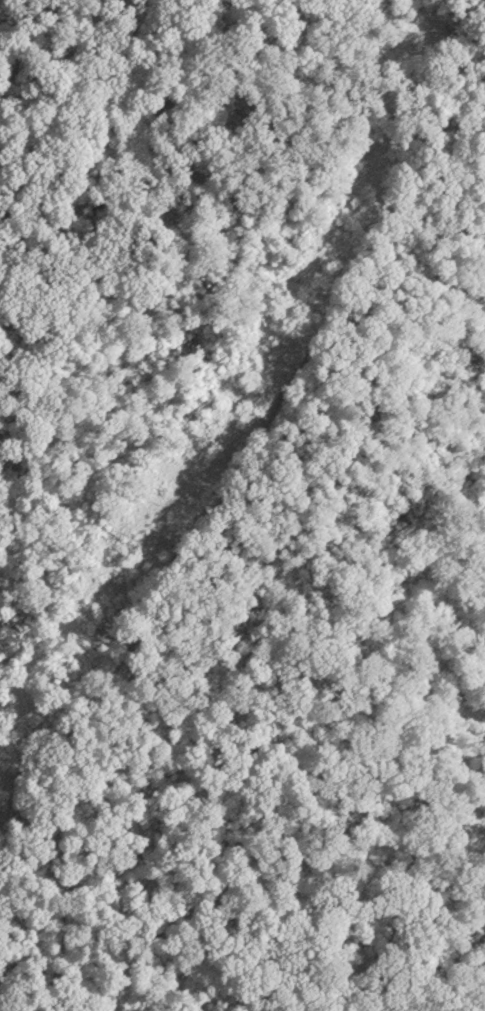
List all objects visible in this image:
road: (237, 460)

